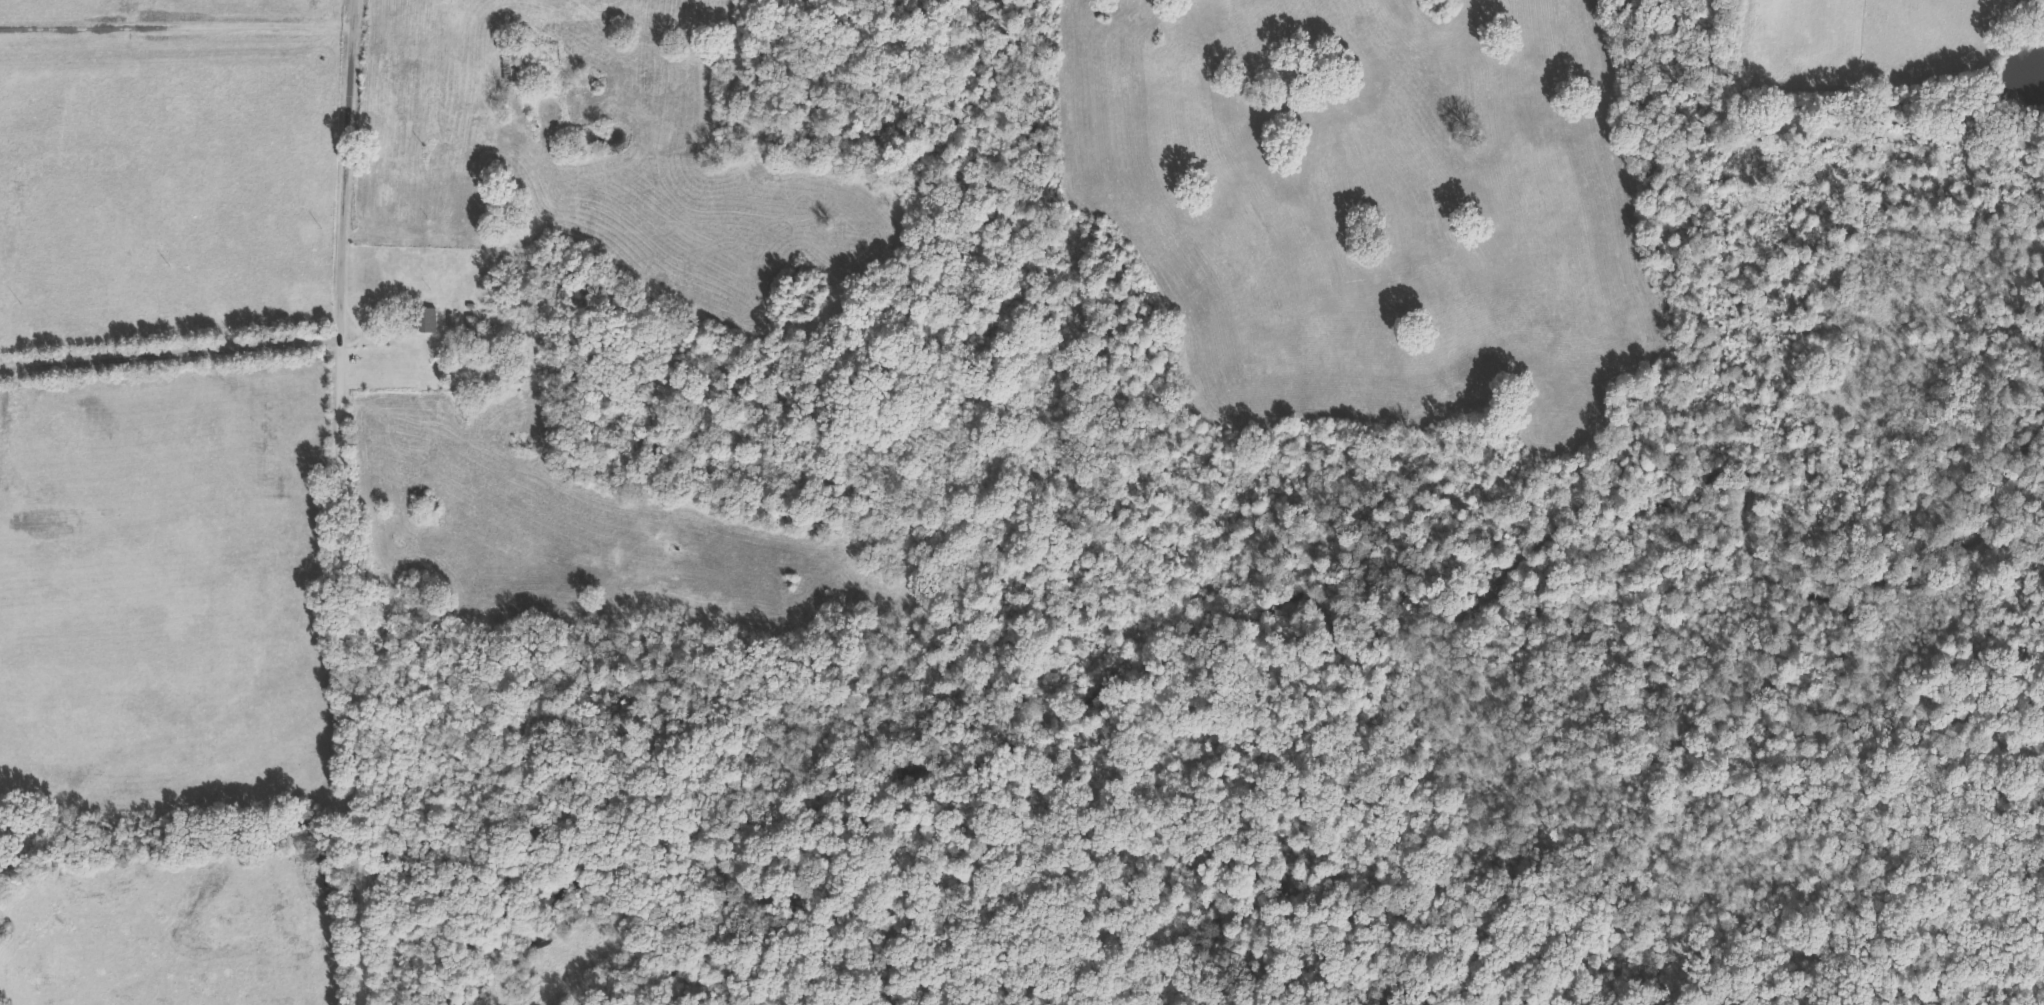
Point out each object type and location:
road: (181, 29)
building: (426, 321)
road: (177, 354)
road: (362, 502)

